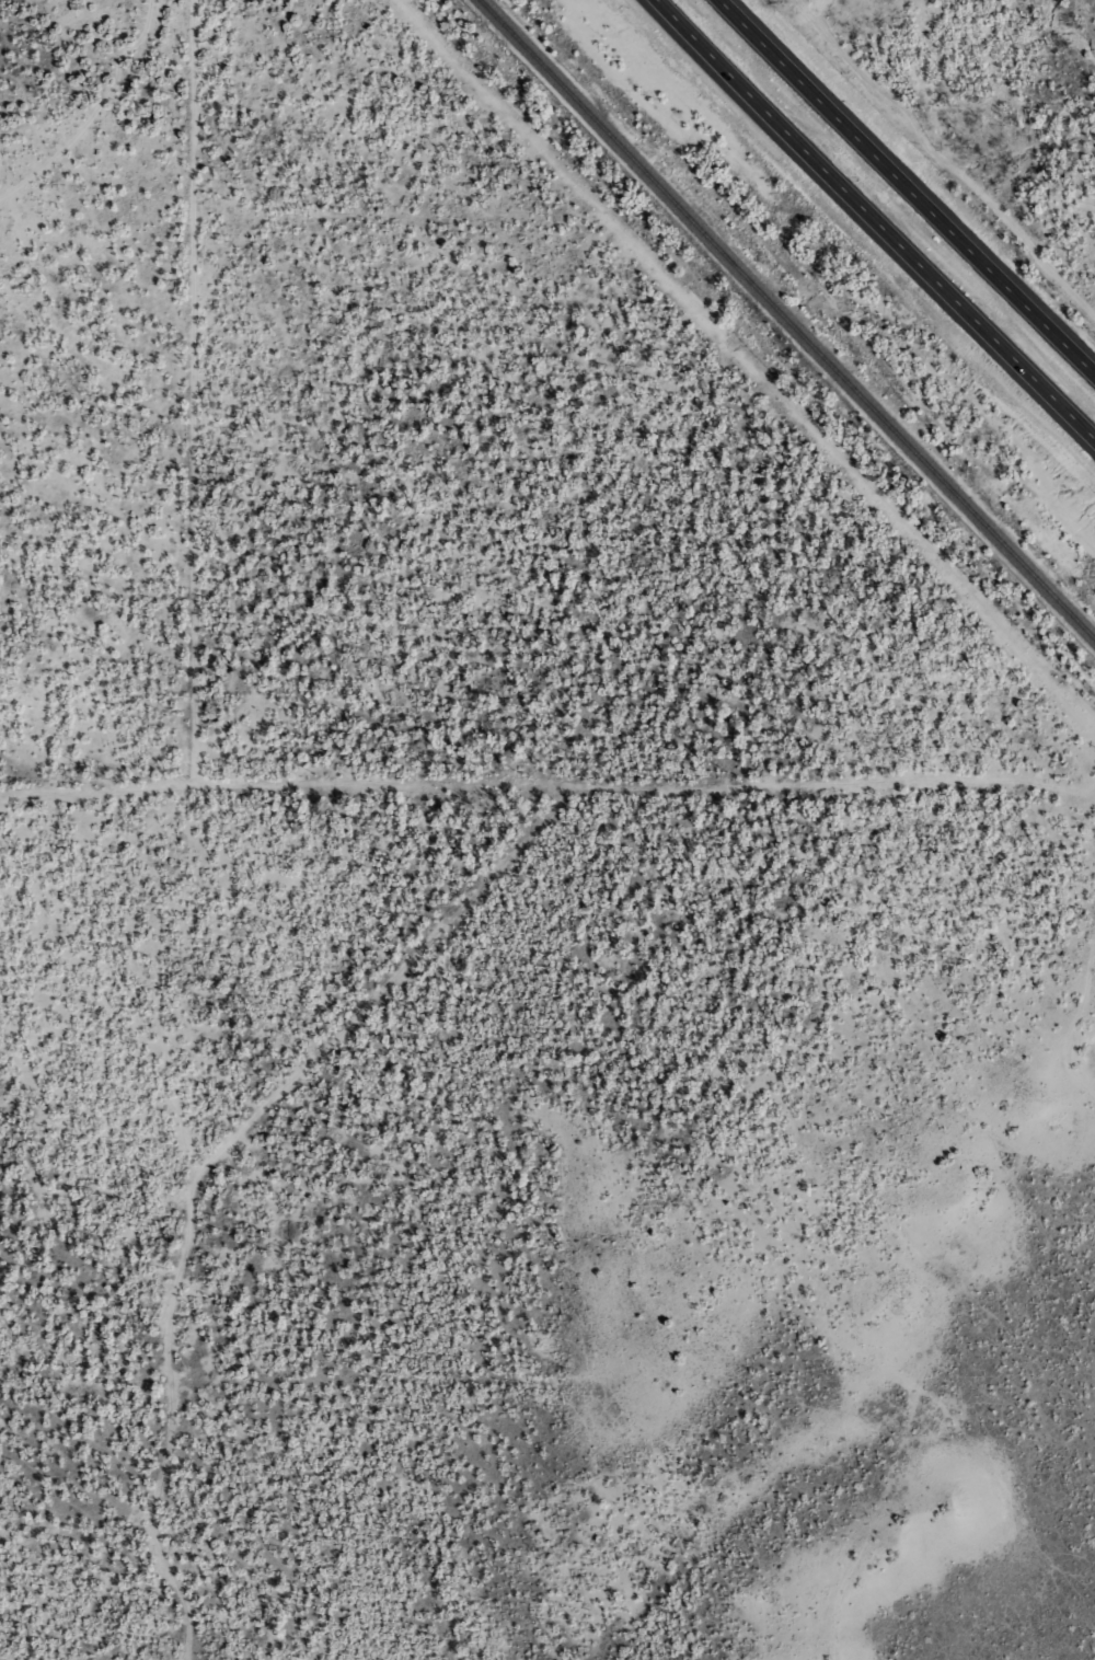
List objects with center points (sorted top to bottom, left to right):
road: (909, 186)
road: (878, 217)
railway: (786, 323)

